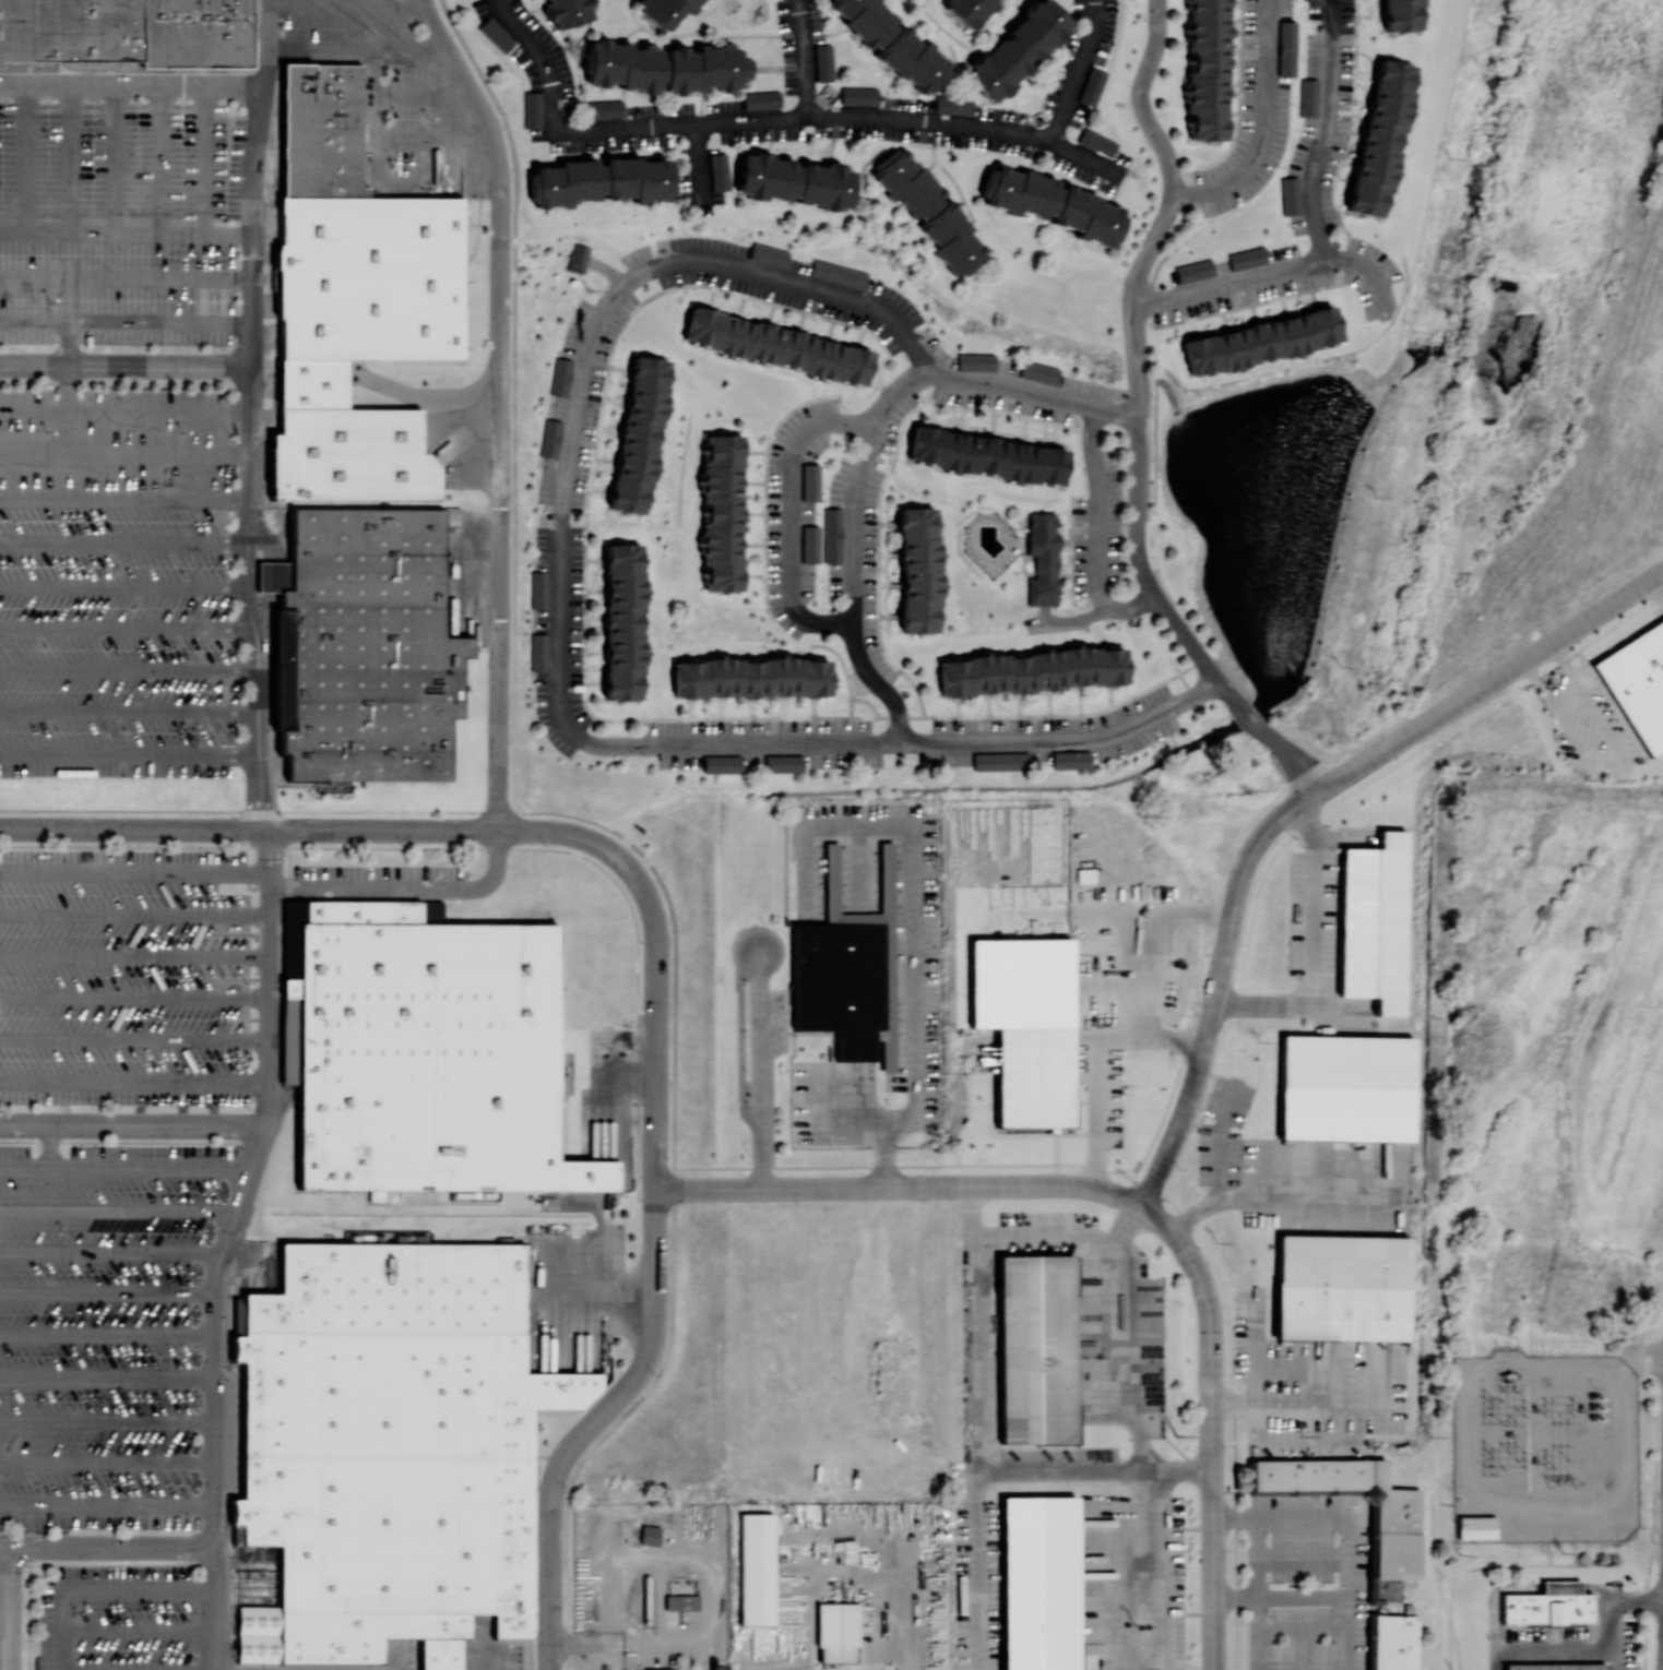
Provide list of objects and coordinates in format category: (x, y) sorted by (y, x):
road: (346, 7)
building: (665, 10)
building: (969, 10)
building: (565, 12)
building: (1400, 15)
street lamp: (1148, 22)
building: (15, 33)
building: (88, 33)
building: (495, 34)
building: (201, 36)
road: (268, 43)
building: (890, 43)
building: (1286, 46)
building: (1015, 50)
road: (357, 51)
road: (801, 57)
building: (823, 61)
building: (665, 68)
building: (1205, 69)
road: (1077, 72)
road: (133, 84)
building: (1093, 85)
street lamp: (1130, 87)
building: (858, 95)
building: (1308, 96)
road: (426, 98)
building: (761, 99)
building: (953, 104)
building: (532, 108)
building: (603, 108)
road: (375, 118)
road: (751, 119)
road: (928, 121)
road: (556, 123)
road: (1262, 127)
building: (323, 130)
road: (1322, 131)
building: (1379, 138)
building: (1097, 141)
road: (433, 142)
street lamp: (1152, 151)
road: (28, 158)
road: (1084, 158)
road: (73, 159)
road: (117, 159)
road: (162, 159)
road: (206, 159)
road: (699, 167)
building: (718, 171)
building: (599, 181)
building: (794, 181)
road: (429, 183)
building: (1290, 194)
building: (1052, 204)
building: (928, 210)
road: (251, 225)
street lamp: (1149, 228)
road: (126, 236)
building: (769, 254)
building: (578, 258)
building: (1247, 258)
road: (605, 269)
road: (1364, 269)
building: (1195, 271)
building: (838, 274)
road: (126, 277)
road: (789, 279)
building: (371, 281)
road: (1227, 282)
road: (126, 322)
building: (1259, 341)
building: (776, 347)
building: (974, 361)
road: (69, 366)
road: (126, 366)
building: (1037, 372)
building: (560, 378)
road: (126, 383)
road: (1010, 386)
building: (313, 387)
street lamp: (227, 392)
road: (500, 406)
road: (124, 409)
road: (1114, 411)
road: (1135, 419)
building: (638, 434)
building: (549, 439)
road: (124, 453)
building: (985, 456)
building: (352, 460)
street lamp: (225, 478)
building: (809, 482)
road: (854, 484)
road: (124, 500)
road: (1096, 510)
building: (721, 512)
road: (788, 512)
building: (831, 535)
building: (809, 545)
road: (121, 546)
building: (1038, 559)
building: (918, 569)
building: (268, 576)
road: (121, 587)
building: (538, 589)
road: (245, 600)
road: (1130, 609)
road: (1041, 615)
road: (1073, 620)
building: (622, 621)
road: (1033, 621)
road: (127, 629)
building: (361, 648)
building: (537, 652)
road: (1558, 652)
road: (558, 666)
road: (1529, 669)
building: (1032, 670)
road: (129, 671)
building: (750, 677)
road: (1489, 681)
road: (875, 683)
building: (1637, 683)
road: (129, 713)
road: (1062, 740)
road: (129, 756)
building: (1069, 760)
building: (999, 761)
building: (782, 763)
building: (721, 764)
road: (1618, 775)
road: (132, 830)
road: (382, 831)
street lamp: (119, 844)
street lamp: (245, 845)
street lamp: (404, 847)
road: (482, 847)
street lamp: (548, 847)
road: (269, 859)
road: (135, 873)
road: (407, 887)
road: (135, 915)
building: (1373, 922)
street lamp: (641, 942)
road: (674, 950)
road: (1312, 952)
road: (135, 957)
road: (910, 966)
building: (847, 969)
road: (1216, 990)
road: (135, 999)
road: (272, 1007)
building: (1025, 1026)
road: (135, 1040)
building: (427, 1048)
road: (1093, 1063)
road: (759, 1073)
road: (135, 1083)
building: (1344, 1088)
street lamp: (637, 1104)
street lamp: (95, 1109)
street lamp: (251, 1109)
road: (855, 1116)
road: (132, 1125)
road: (655, 1129)
road: (129, 1142)
road: (1216, 1143)
road: (49, 1146)
street lamp: (747, 1149)
road: (124, 1169)
road: (250, 1170)
road: (900, 1186)
road: (1161, 1198)
road: (1274, 1198)
street lamp: (799, 1206)
street lamp: (640, 1207)
road: (118, 1213)
road: (1040, 1229)
road: (110, 1255)
building: (1340, 1288)
road: (107, 1291)
building: (237, 1315)
road: (107, 1335)
building: (1035, 1349)
road: (1122, 1353)
road: (1251, 1355)
road: (1643, 1358)
street lamp: (654, 1375)
road: (107, 1379)
road: (214, 1380)
road: (1295, 1404)
power tower: (1487, 1407)
road: (107, 1422)
road: (1210, 1427)
power tower: (1175, 1436)
power tower: (1429, 1436)
building: (396, 1444)
power substation: (1544, 1447)
power tower: (1487, 1459)
road: (107, 1464)
road: (1177, 1466)
power tower: (1563, 1481)
street lamp: (567, 1489)
road: (974, 1489)
building: (1283, 1492)
road: (107, 1507)
road: (1234, 1519)
building: (1476, 1527)
building: (650, 1535)
building: (1395, 1540)
road: (7, 1547)
road: (114, 1548)
road: (1349, 1549)
power tower: (1561, 1553)
power tower: (1458, 1554)
road: (1129, 1563)
road: (106, 1565)
building: (756, 1568)
building: (1037, 1583)
road: (549, 1585)
building: (1564, 1587)
road: (98, 1588)
road: (1259, 1594)
road: (1279, 1597)
building: (681, 1602)
road: (13, 1608)
road: (214, 1609)
building: (1549, 1609)
road: (1612, 1613)
road: (28, 1618)
road: (913, 1627)
road: (140, 1632)
building: (836, 1632)
building: (259, 1634)
street lamp: (26, 1641)
road: (632, 1642)
building: (1392, 1642)
road: (1543, 1648)
road: (439, 1659)
road: (487, 1665)
building: (1557, 1667)
street lamp: (535, 1668)
building: (660, 1669)

